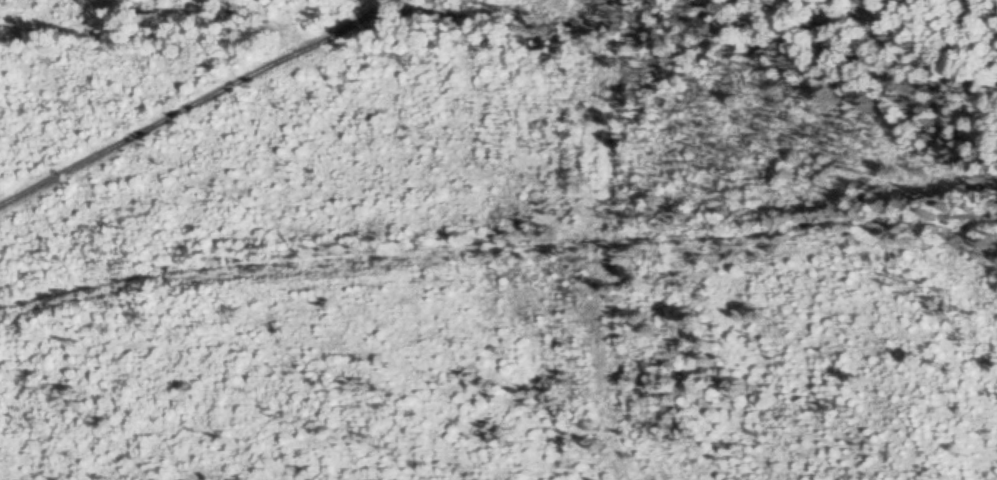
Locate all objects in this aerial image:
road: (199, 100)
railway: (496, 258)

